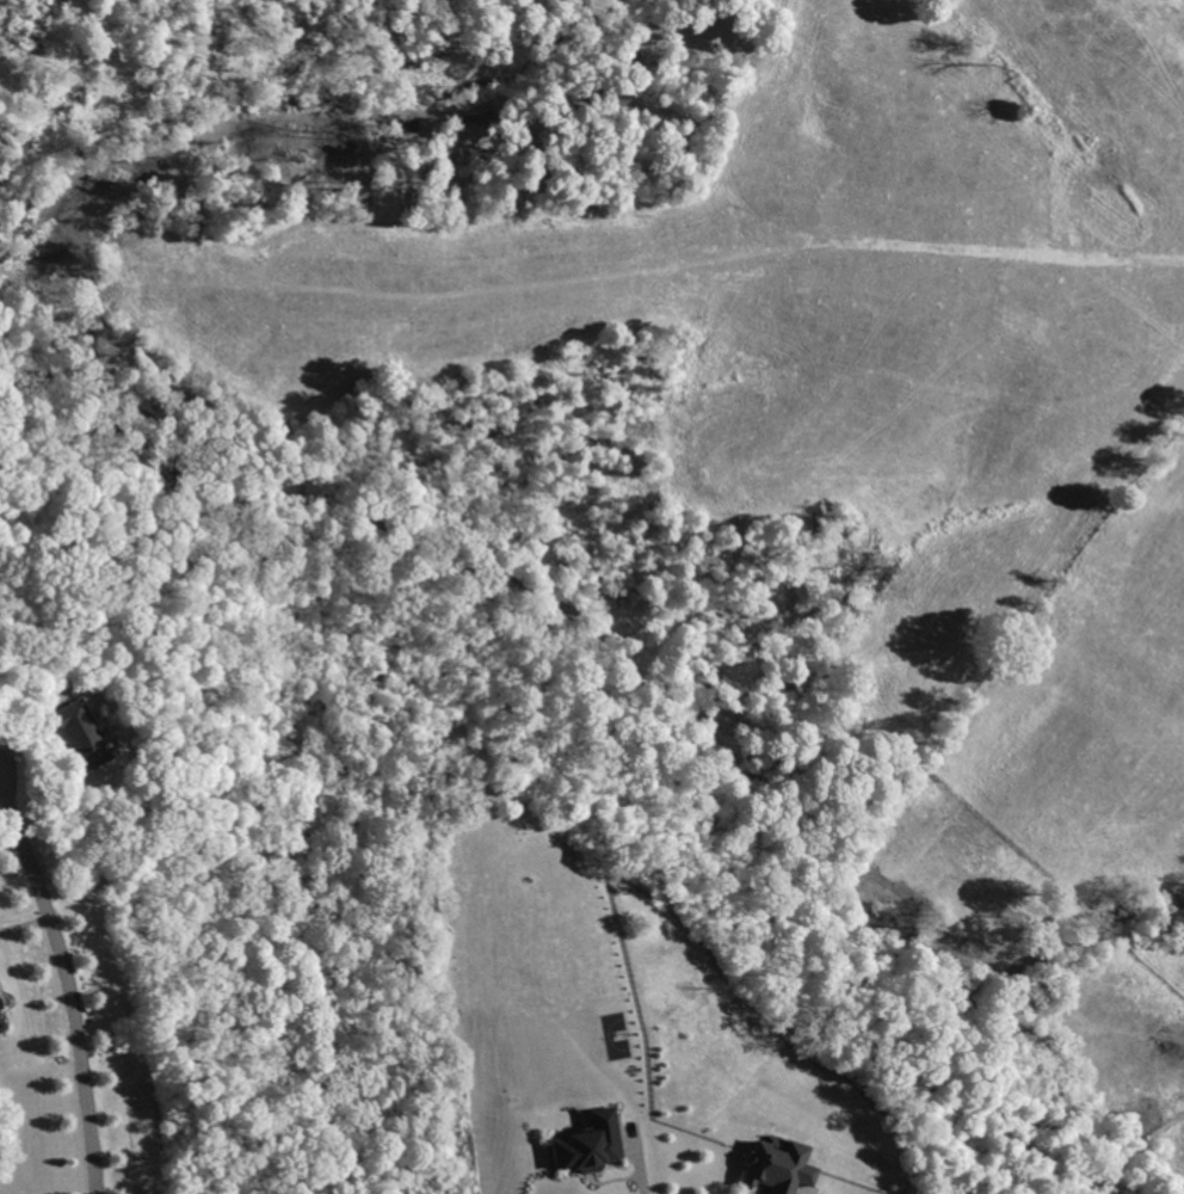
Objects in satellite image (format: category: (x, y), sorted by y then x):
building: (84, 733)
road: (68, 980)
building: (1, 1013)
building: (591, 1144)
building: (777, 1168)

